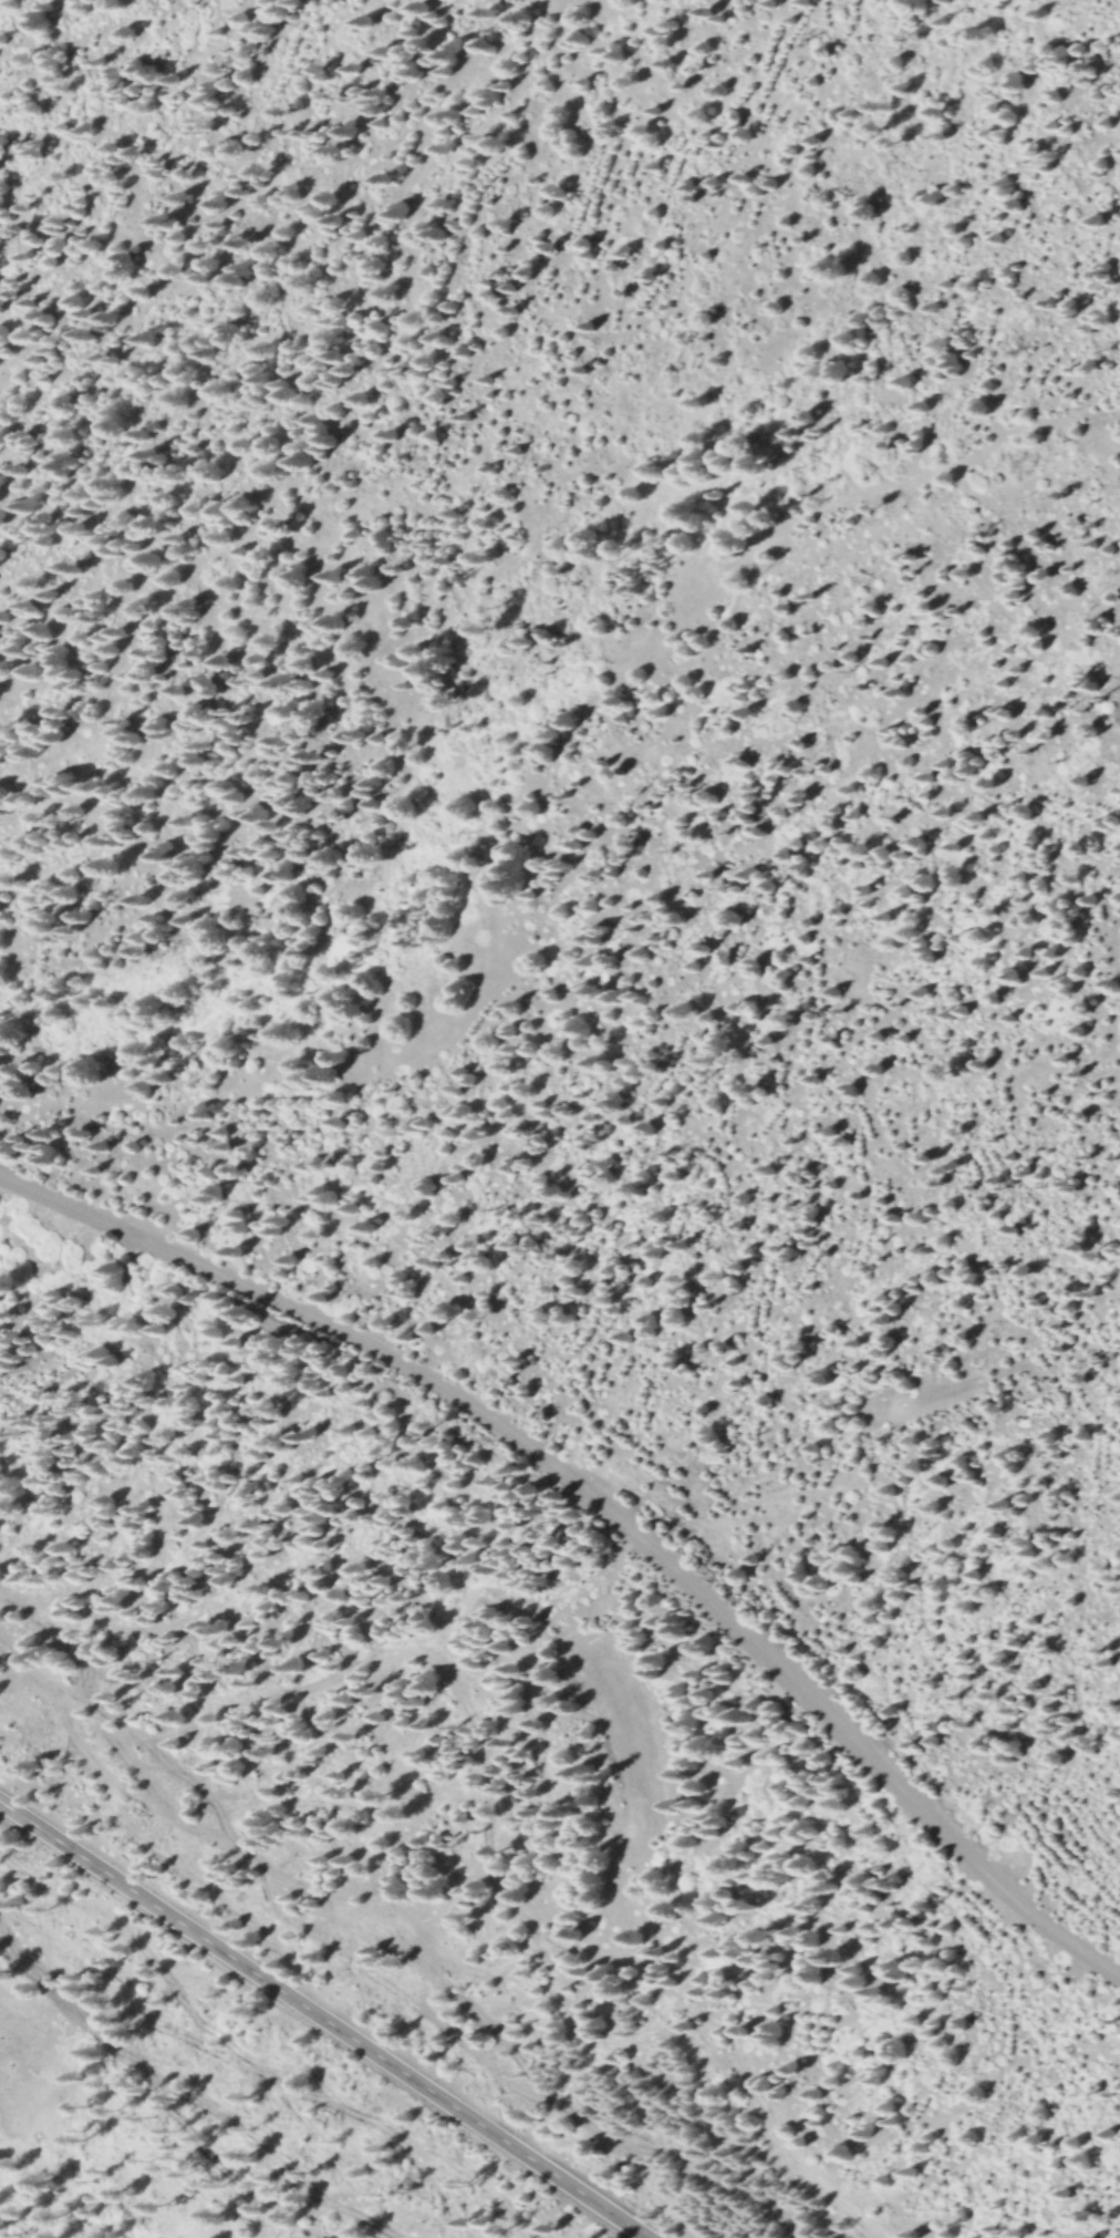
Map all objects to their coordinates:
road: (603, 1507)
road: (362, 1932)
road: (326, 2018)

